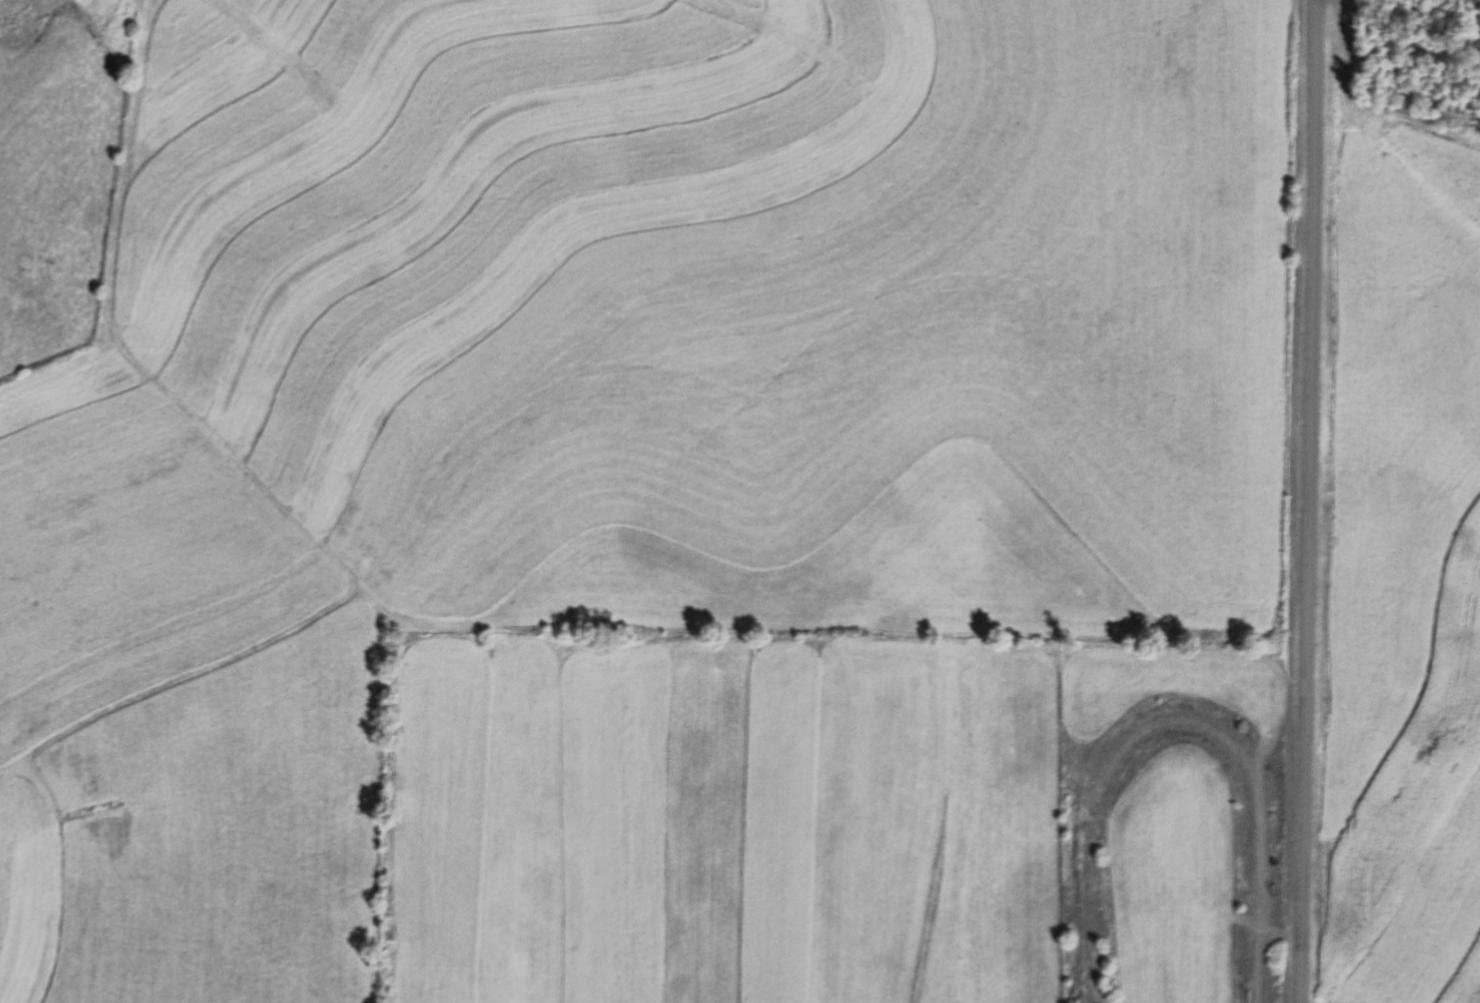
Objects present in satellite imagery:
road: (1310, 501)

